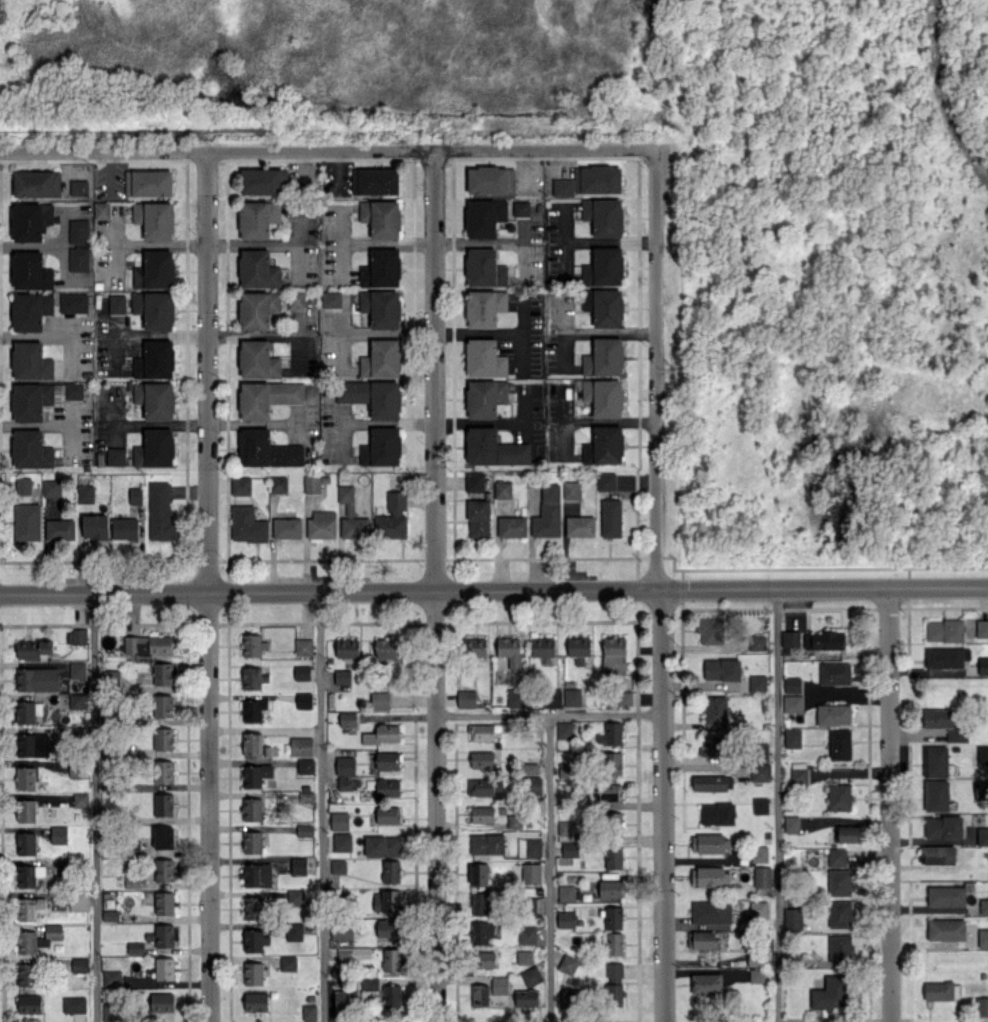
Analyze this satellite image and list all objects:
road: (942, 95)
road: (327, 154)
building: (597, 179)
building: (490, 180)
building: (261, 181)
building: (375, 181)
building: (148, 182)
building: (36, 183)
building: (78, 187)
building: (562, 187)
building: (521, 208)
building: (101, 210)
building: (603, 216)
building: (484, 217)
building: (257, 218)
building: (381, 218)
building: (154, 219)
building: (29, 220)
building: (78, 231)
road: (494, 241)
road: (387, 244)
building: (78, 259)
building: (603, 267)
building: (381, 268)
building: (484, 268)
building: (154, 269)
building: (258, 269)
building: (30, 271)
building: (331, 299)
building: (73, 302)
building: (116, 303)
building: (266, 307)
building: (604, 307)
building: (381, 308)
building: (484, 308)
building: (154, 309)
building: (30, 310)
road: (561, 313)
road: (522, 314)
road: (296, 324)
road: (590, 332)
road: (387, 333)
road: (498, 333)
road: (160, 334)
road: (270, 334)
building: (604, 357)
building: (484, 358)
building: (381, 359)
building: (155, 360)
building: (257, 360)
building: (30, 361)
road: (655, 369)
building: (73, 390)
building: (604, 396)
building: (266, 397)
building: (373, 397)
building: (485, 397)
building: (32, 400)
building: (155, 400)
road: (254, 423)
road: (389, 423)
road: (158, 424)
building: (604, 445)
building: (158, 447)
building: (381, 447)
building: (493, 448)
building: (30, 449)
building: (266, 449)
building: (138, 455)
building: (115, 456)
building: (474, 481)
building: (606, 481)
building: (278, 484)
building: (311, 484)
building: (22, 485)
building: (240, 485)
building: (51, 488)
building: (503, 489)
building: (571, 490)
building: (85, 494)
building: (135, 496)
building: (396, 501)
building: (160, 512)
building: (548, 512)
building: (352, 516)
building: (478, 518)
building: (610, 518)
building: (26, 521)
building: (247, 525)
building: (321, 525)
building: (579, 525)
building: (95, 526)
building: (390, 526)
building: (511, 526)
building: (124, 528)
building: (287, 528)
building: (60, 530)
road: (439, 587)
road: (212, 588)
road: (494, 589)
building: (982, 628)
building: (710, 630)
building: (944, 630)
building: (78, 636)
building: (790, 638)
building: (823, 640)
building: (757, 642)
building: (147, 644)
building: (252, 645)
building: (303, 647)
building: (475, 647)
building: (543, 647)
building: (33, 648)
building: (347, 648)
building: (386, 648)
building: (578, 649)
building: (509, 651)
building: (614, 656)
building: (946, 657)
building: (983, 665)
building: (722, 669)
building: (77, 670)
building: (301, 672)
building: (111, 673)
building: (163, 673)
building: (834, 673)
building: (342, 676)
building: (253, 677)
building: (37, 679)
building: (757, 683)
building: (792, 685)
building: (572, 696)
building: (553, 697)
building: (466, 698)
building: (516, 698)
building: (623, 698)
building: (303, 700)
building: (380, 700)
building: (77, 701)
building: (792, 703)
building: (163, 705)
building: (253, 708)
road: (550, 709)
building: (714, 709)
building: (27, 711)
building: (833, 714)
building: (937, 718)
building: (347, 719)
road: (266, 728)
building: (564, 730)
building: (481, 732)
building: (383, 734)
building: (610, 734)
building: (956, 735)
building: (792, 738)
building: (163, 739)
building: (252, 743)
building: (33, 744)
building: (840, 744)
building: (302, 746)
building: (715, 746)
building: (982, 754)
building: (387, 760)
building: (935, 761)
building: (611, 763)
building: (345, 765)
building: (305, 766)
building: (77, 768)
building: (530, 768)
building: (163, 771)
building: (565, 771)
building: (760, 772)
building: (255, 775)
building: (798, 775)
building: (25, 777)
building: (712, 782)
building: (348, 783)
building: (536, 785)
building: (387, 787)
building: (484, 787)
building: (981, 789)
building: (610, 792)
building: (936, 795)
building: (306, 796)
building: (839, 797)
building: (80, 799)
building: (163, 804)
road: (888, 804)
road: (661, 805)
building: (760, 805)
road: (774, 805)
road: (321, 806)
road: (93, 807)
building: (252, 809)
building: (26, 810)
building: (717, 813)
building: (388, 814)
building: (339, 821)
building: (514, 821)
building: (612, 821)
building: (791, 824)
building: (565, 827)
building: (943, 827)
building: (304, 830)
building: (58, 834)
building: (848, 835)
building: (982, 836)
building: (163, 837)
building: (252, 842)
building: (342, 842)
building: (26, 843)
building: (486, 843)
building: (709, 843)
building: (382, 846)
building: (529, 847)
building: (569, 849)
building: (759, 853)
building: (937, 854)
building: (613, 857)
building: (837, 857)
building: (298, 865)
building: (338, 866)
road: (549, 866)
building: (164, 870)
building: (391, 871)
building: (530, 873)
building: (478, 874)
building: (29, 875)
building: (257, 875)
building: (709, 876)
building: (762, 877)
building: (132, 882)
building: (840, 882)
building: (610, 889)
building: (566, 893)
building: (946, 895)
building: (294, 897)
building: (387, 900)
building: (79, 901)
building: (163, 903)
building: (479, 903)
building: (983, 906)
building: (29, 907)
building: (253, 907)
building: (757, 910)
building: (711, 912)
building: (840, 914)
building: (110, 915)
building: (613, 918)
building: (792, 918)
building: (566, 919)
building: (388, 928)
building: (946, 929)
building: (294, 931)
building: (481, 932)
building: (342, 933)
building: (163, 935)
building: (527, 935)
building: (37, 938)
building: (983, 938)
building: (702, 939)
building: (255, 941)
building: (613, 943)
building: (135, 947)
building: (839, 948)
building: (352, 954)
building: (524, 956)
building: (757, 958)
building: (484, 959)
building: (391, 960)
building: (288, 963)
building: (80, 964)
building: (568, 964)
building: (164, 968)
building: (253, 973)
building: (26, 974)
building: (734, 975)
building: (756, 975)
building: (531, 976)
building: (111, 978)
building: (369, 983)
building: (706, 983)
building: (614, 984)
building: (499, 985)
building: (941, 990)
building: (830, 993)
building: (480, 995)
building: (392, 997)
building: (526, 997)
building: (570, 997)
building: (344, 1000)
building: (255, 1001)
building: (159, 1002)
building: (29, 1004)
building: (74, 1004)
building: (982, 1006)
building: (112, 1011)
building: (309, 1011)

